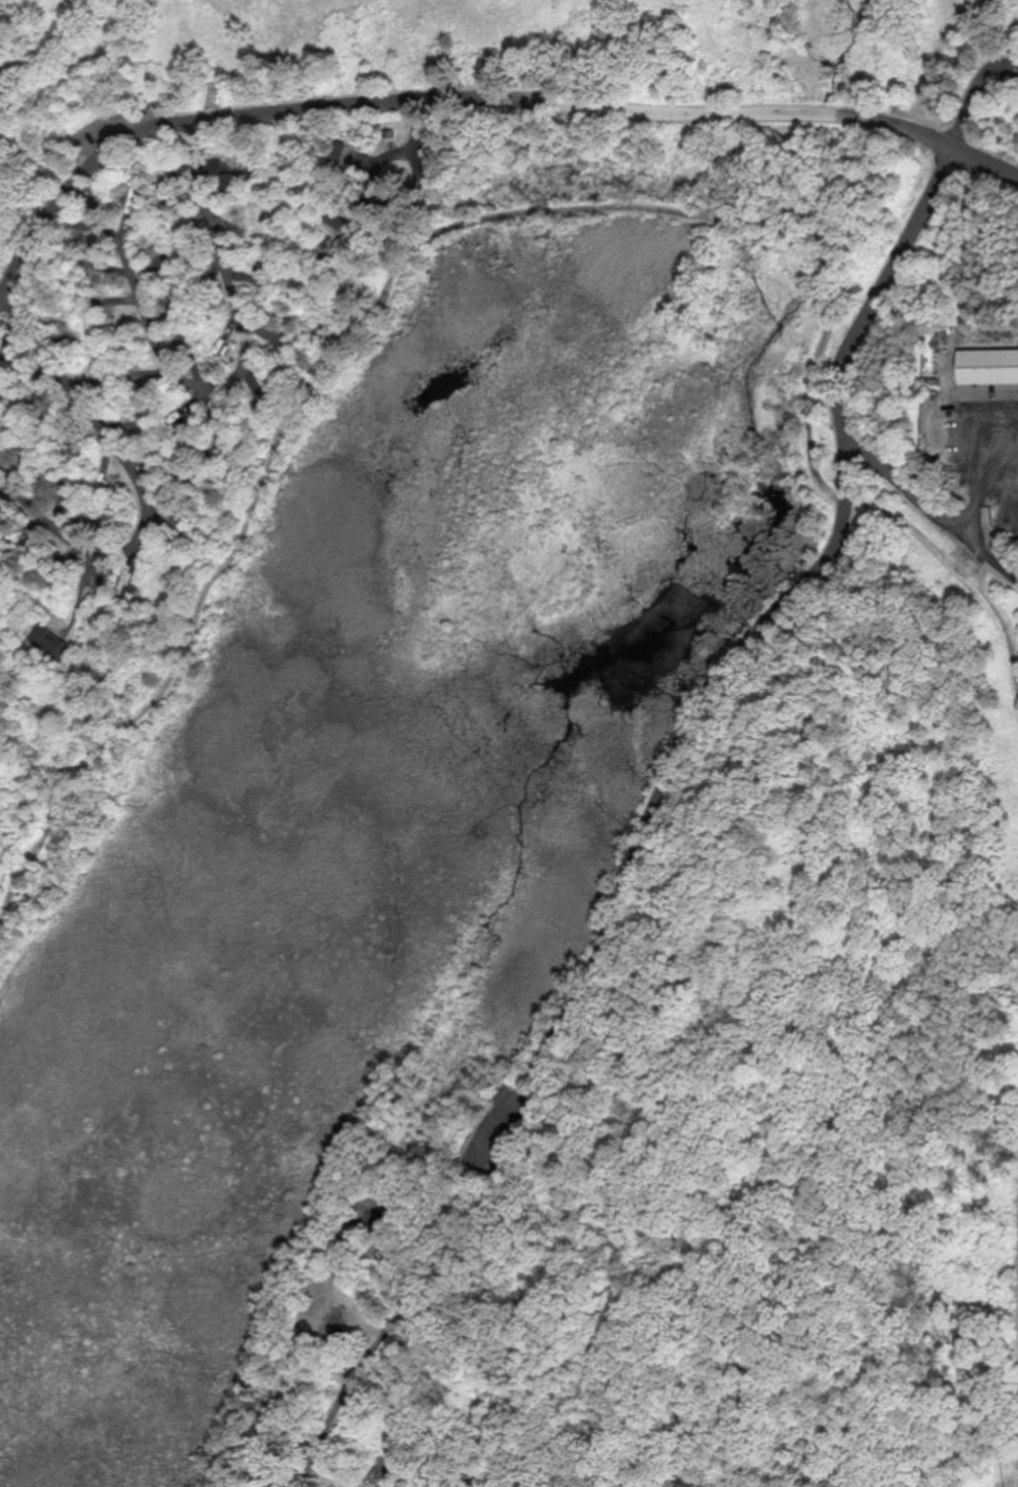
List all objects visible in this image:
road: (975, 94)
road: (379, 100)
road: (899, 126)
building: (390, 134)
building: (335, 144)
road: (985, 161)
building: (224, 174)
building: (334, 212)
building: (77, 226)
road: (398, 264)
road: (854, 338)
building: (987, 359)
road: (231, 384)
road: (140, 491)
road: (975, 543)
building: (50, 634)
park: (509, 743)
road: (621, 886)

